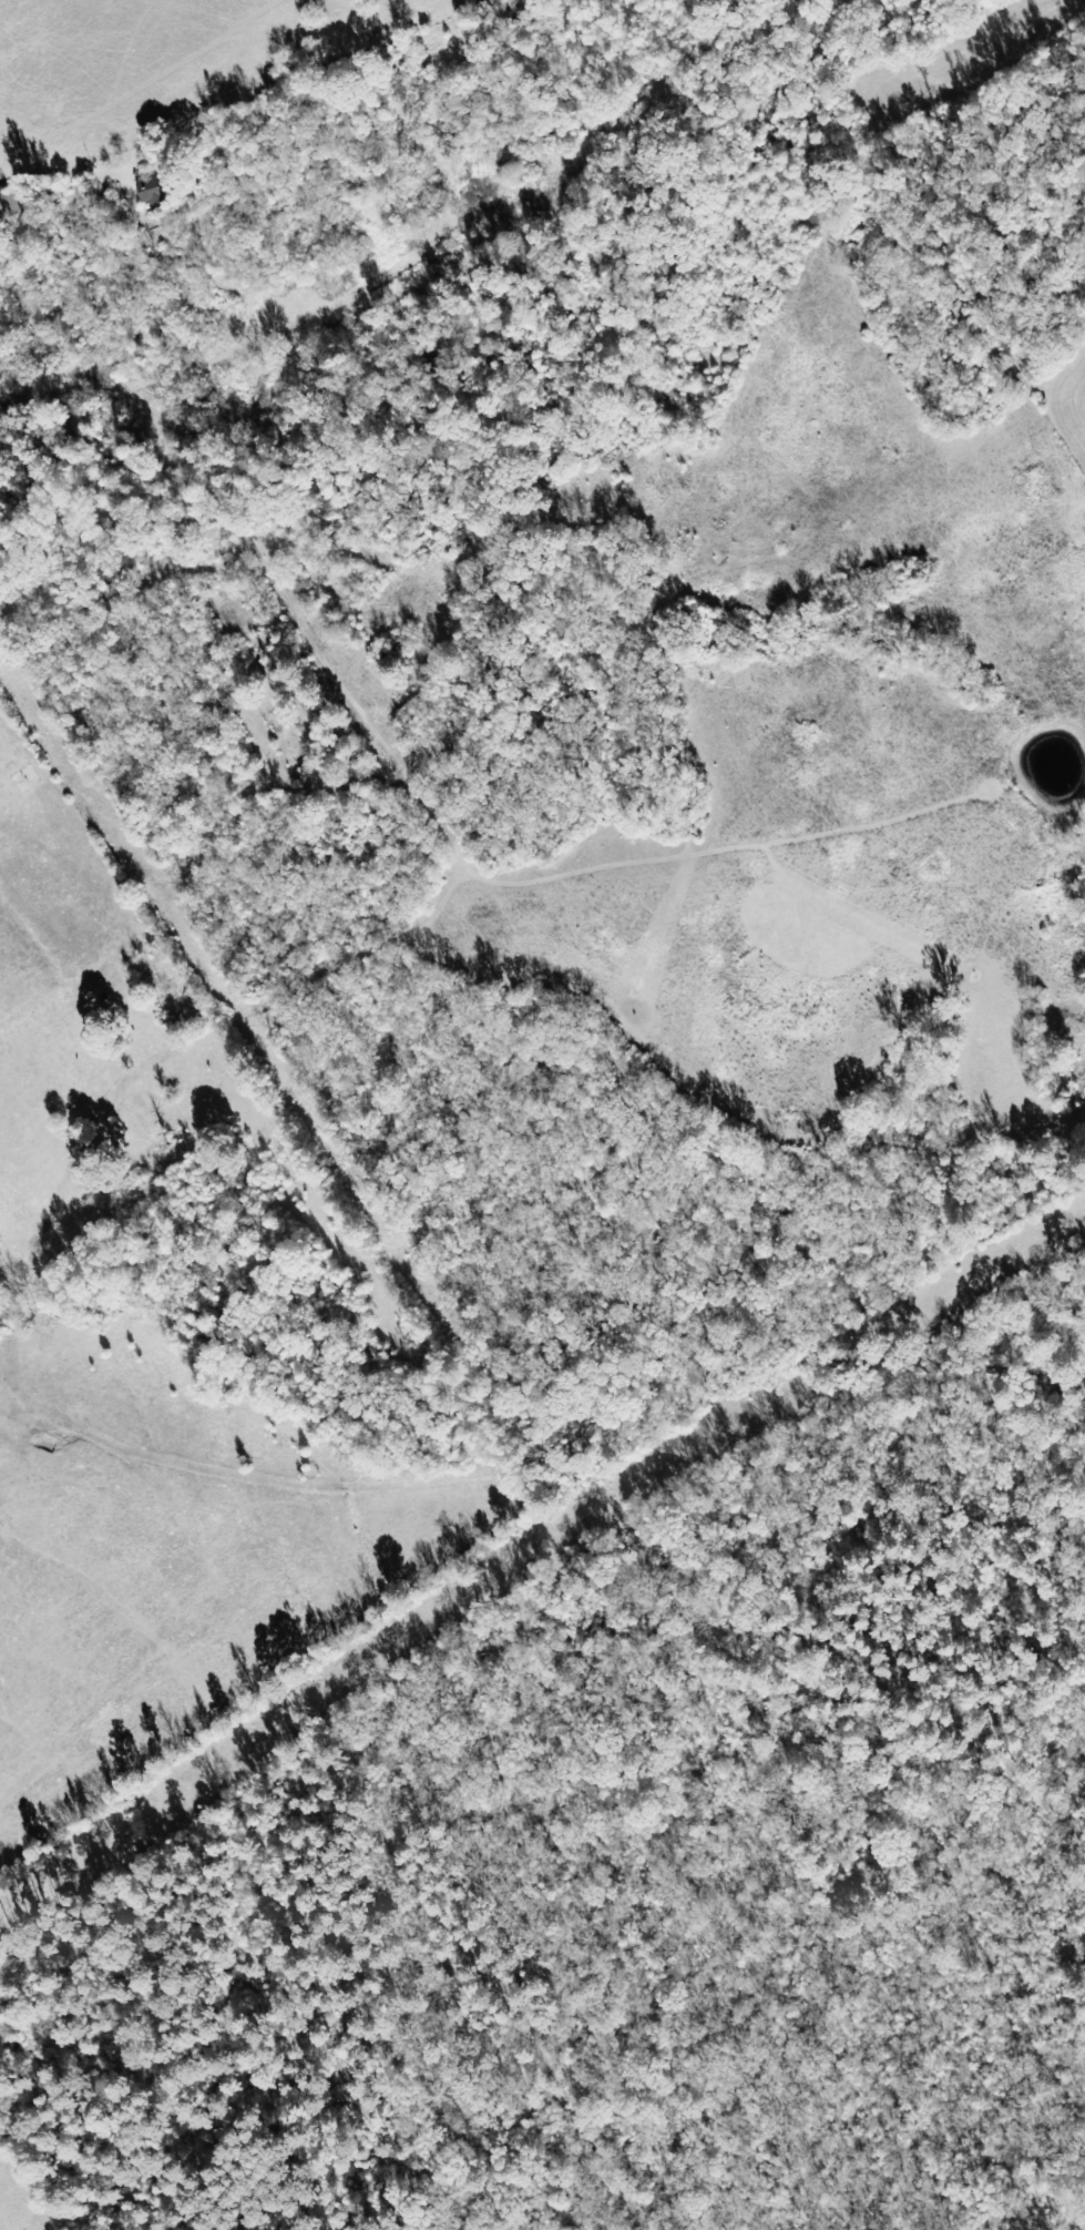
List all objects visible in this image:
road: (335, 690)
road: (129, 894)
road: (483, 1384)
road: (307, 1799)

